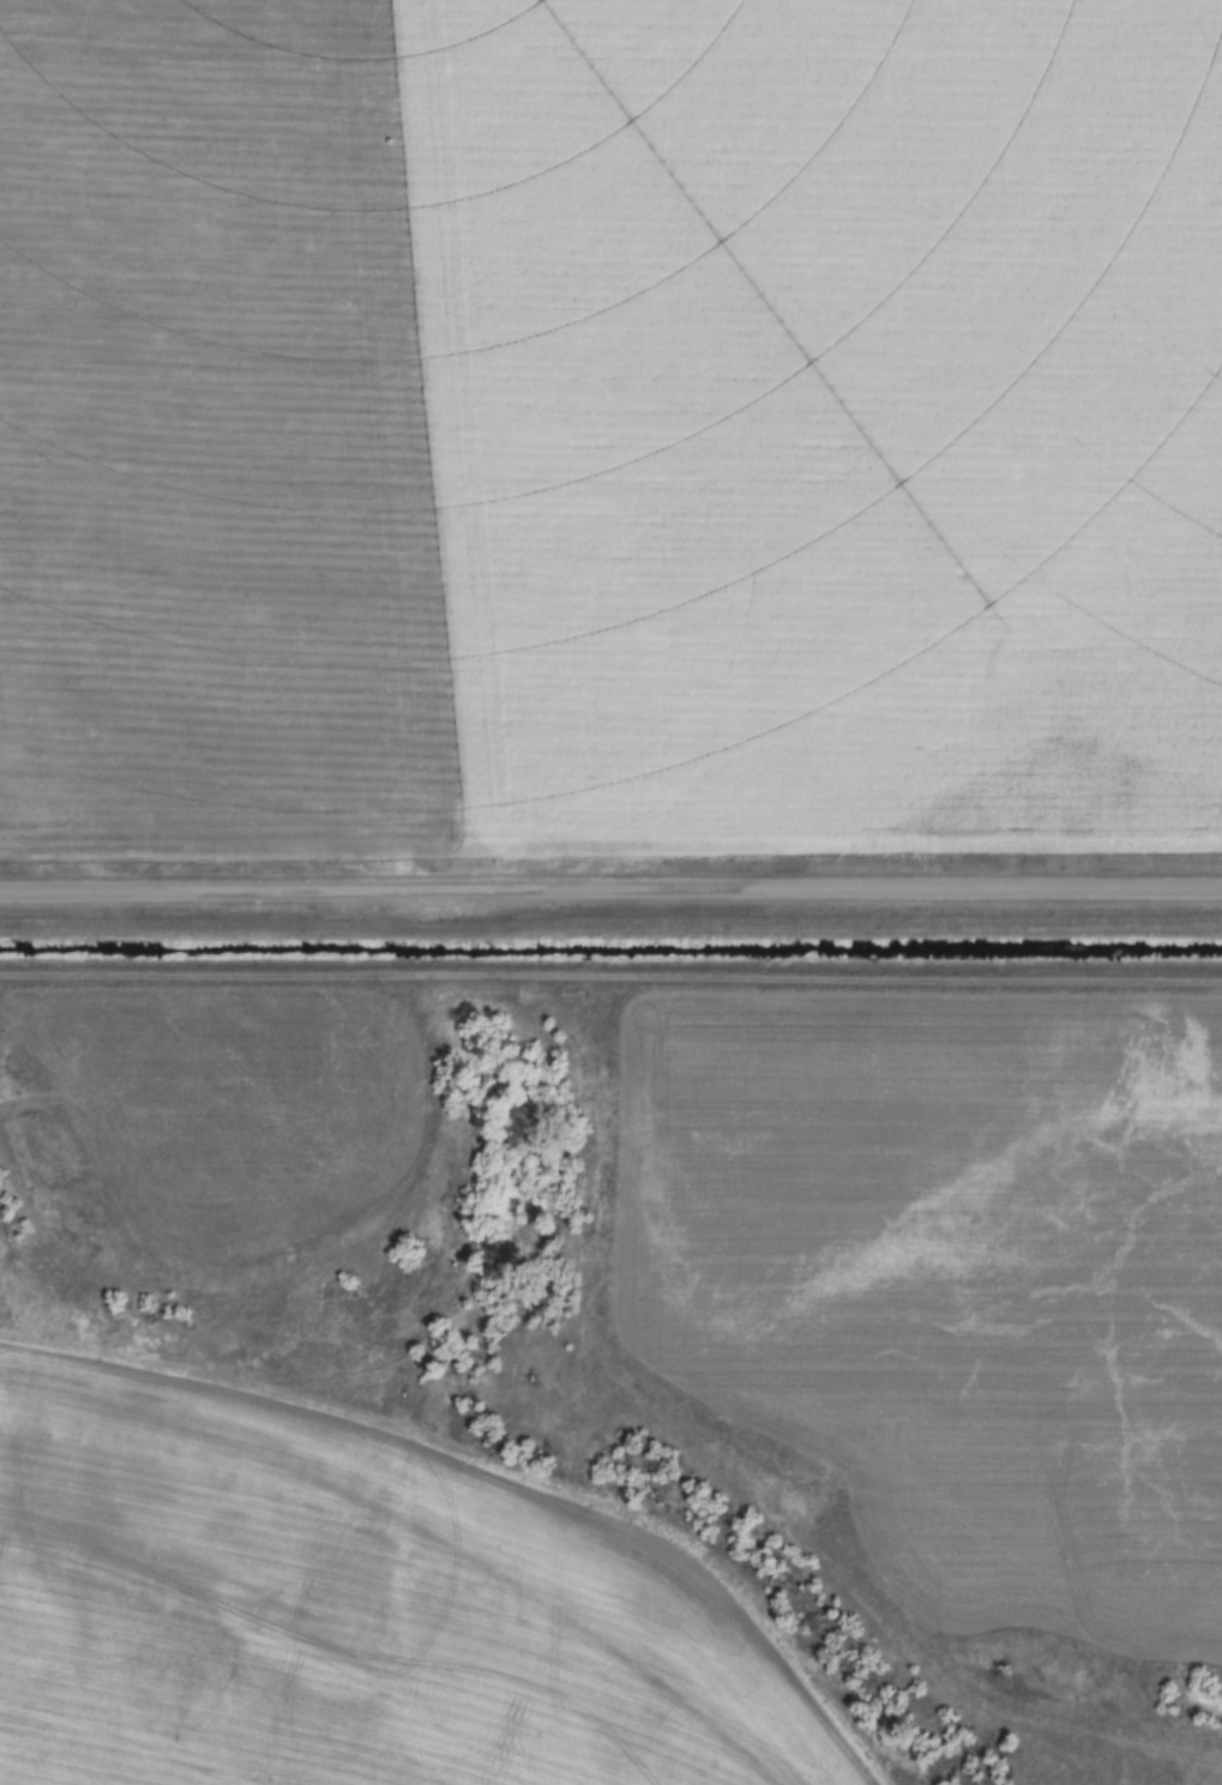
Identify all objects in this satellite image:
road: (610, 890)

